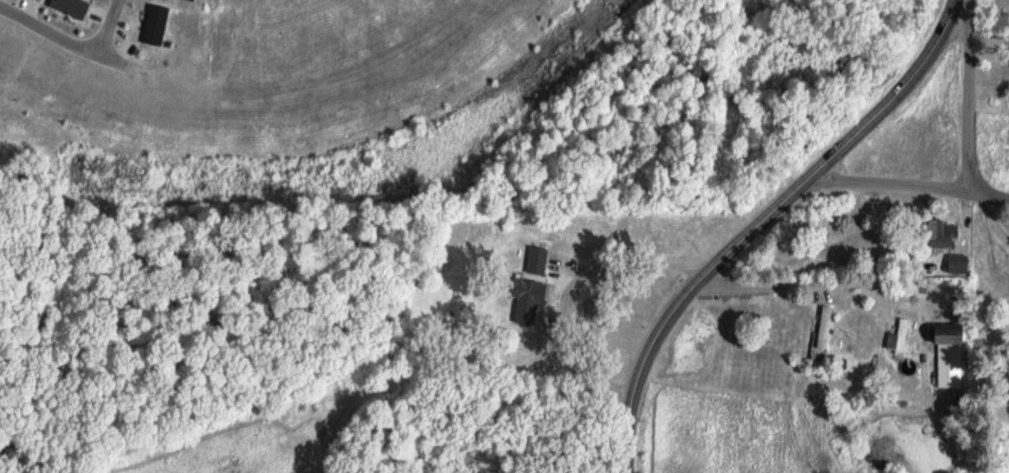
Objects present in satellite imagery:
building: (69, 6)
building: (153, 23)
road: (108, 28)
road: (60, 40)
road: (966, 96)
road: (892, 185)
road: (989, 203)
road: (765, 222)
building: (937, 231)
building: (533, 258)
building: (955, 262)
building: (524, 296)
building: (821, 325)
building: (895, 335)
building: (946, 357)

